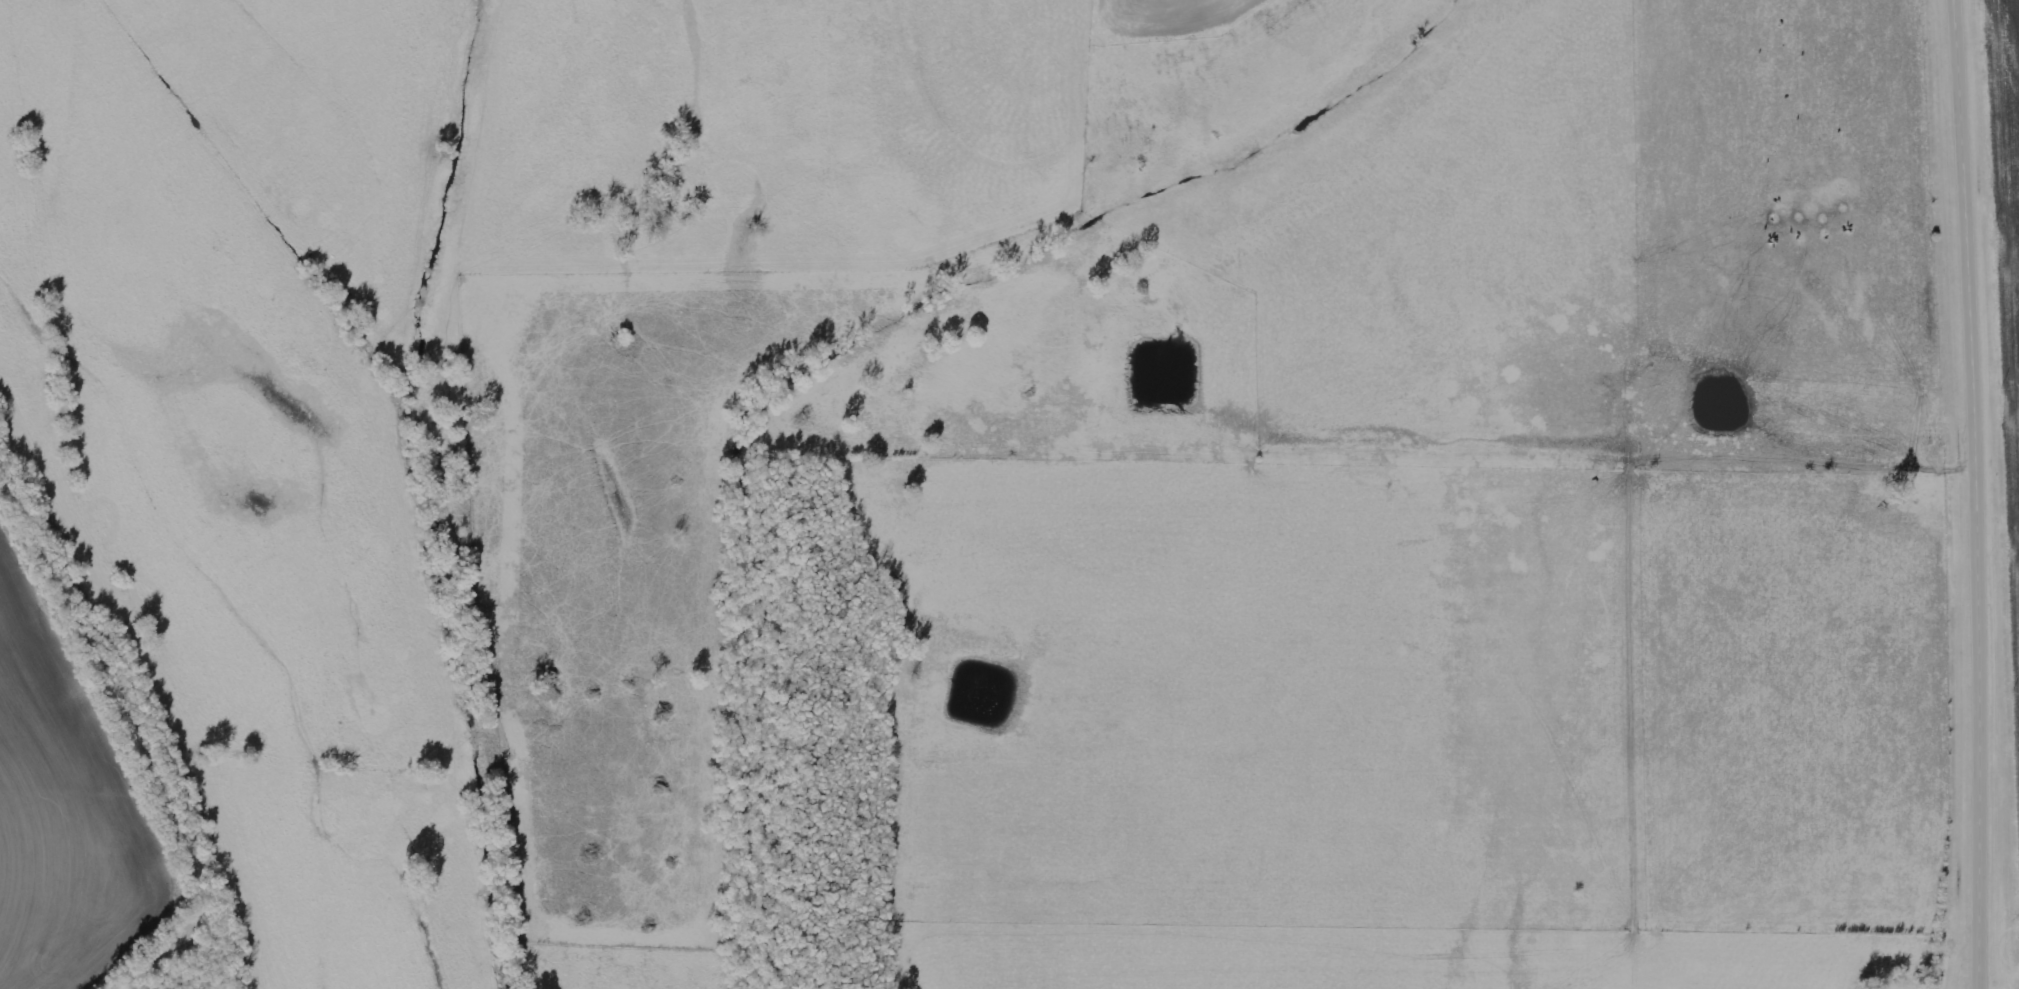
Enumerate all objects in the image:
road: (1977, 494)

